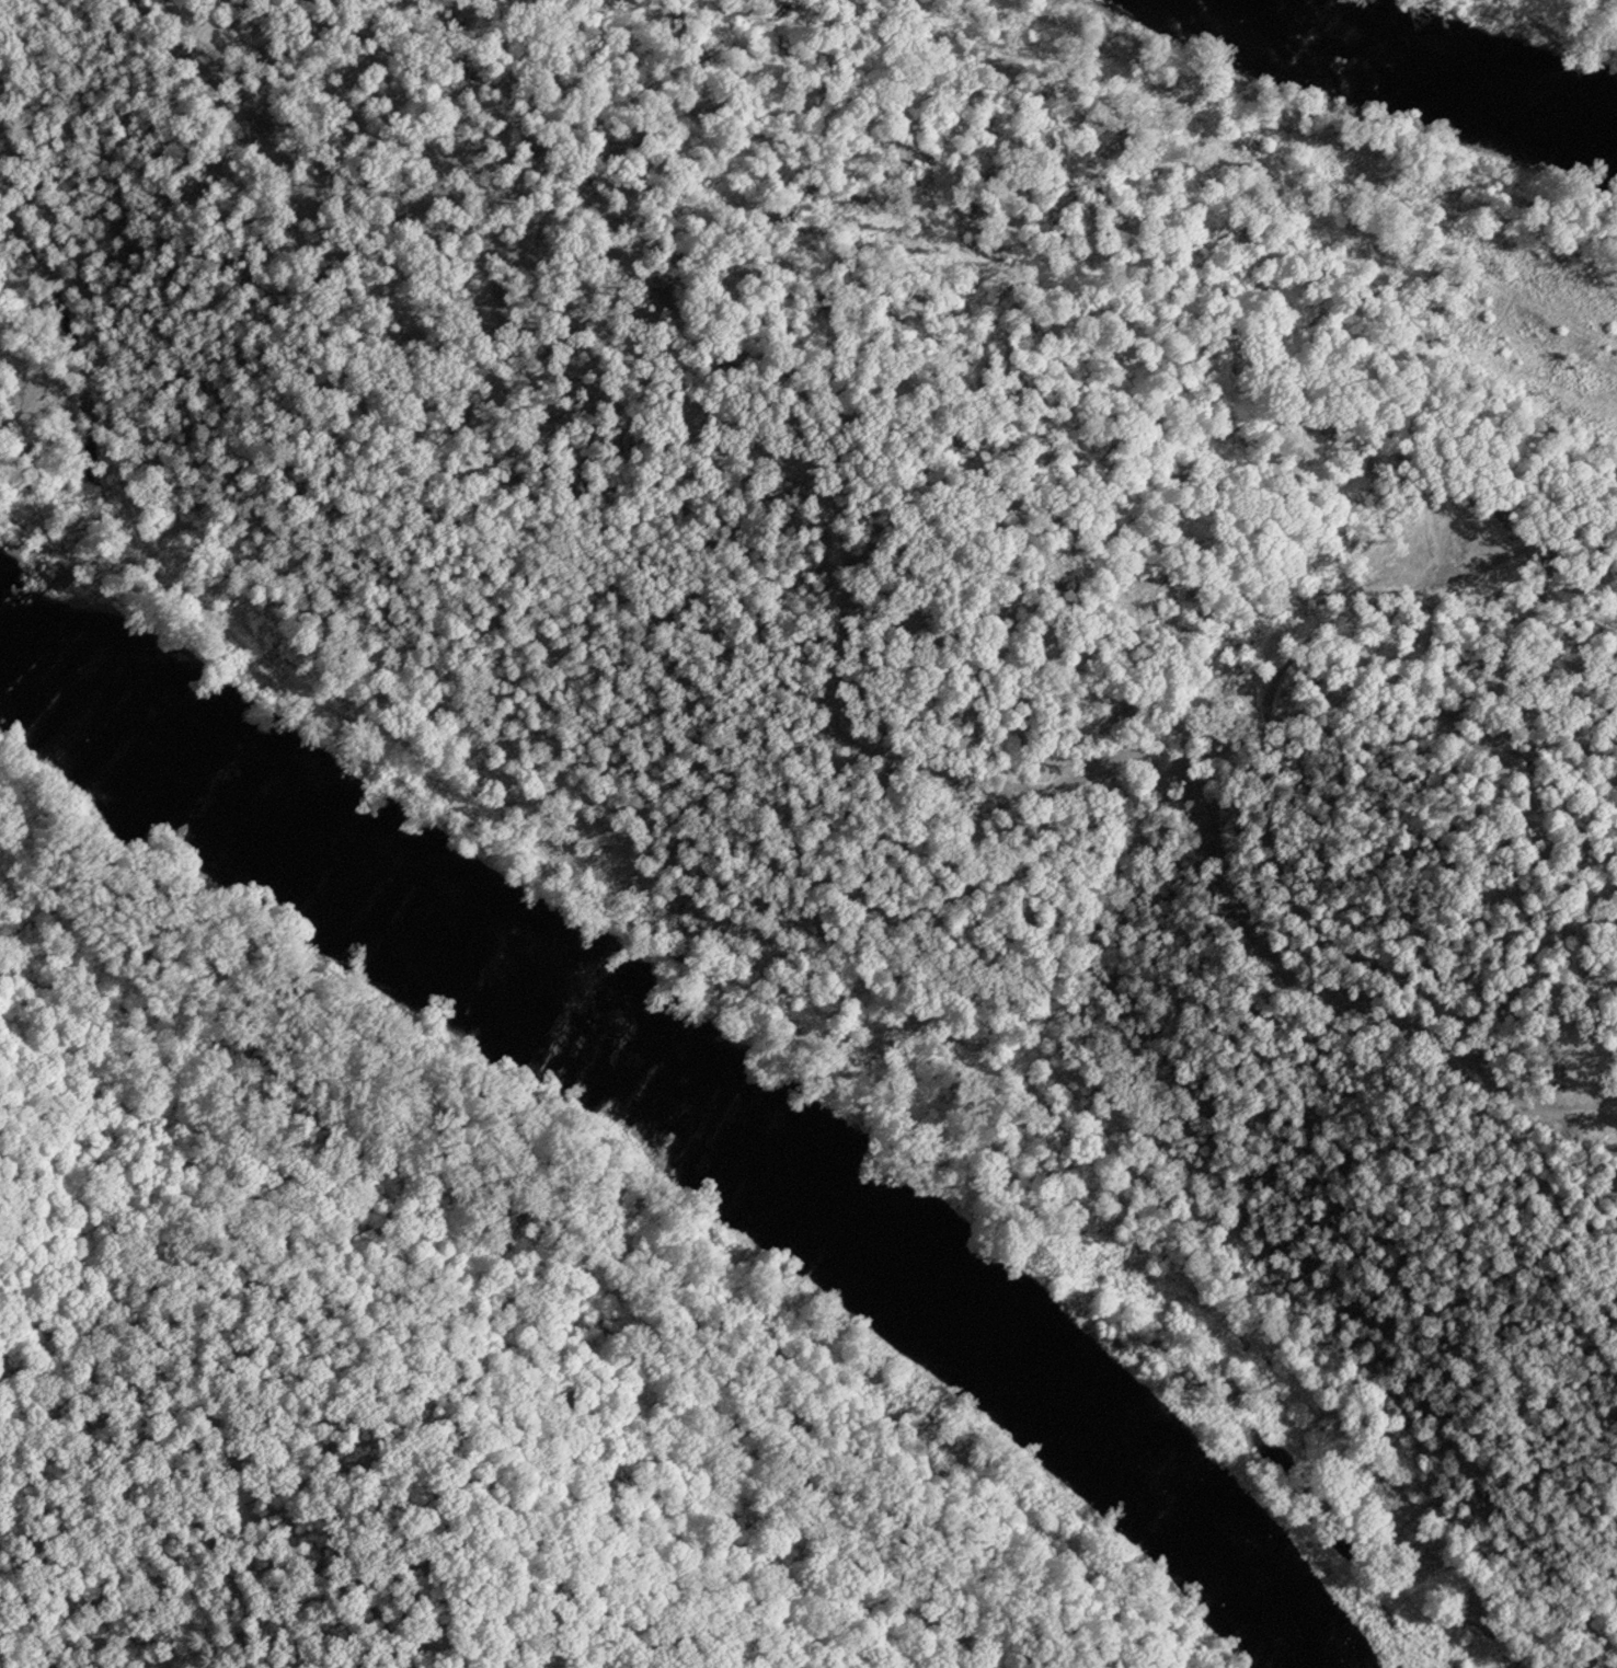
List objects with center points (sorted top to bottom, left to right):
river: (1454, 76)
river: (698, 1106)

